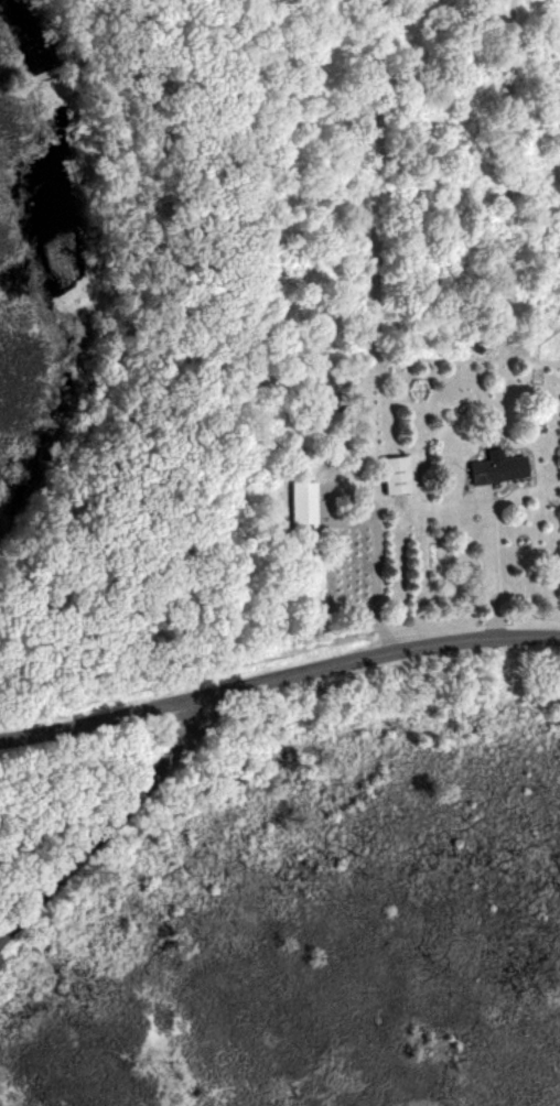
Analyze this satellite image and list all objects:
building: (503, 468)
building: (401, 475)
road: (485, 554)
road: (279, 675)
road: (97, 825)

